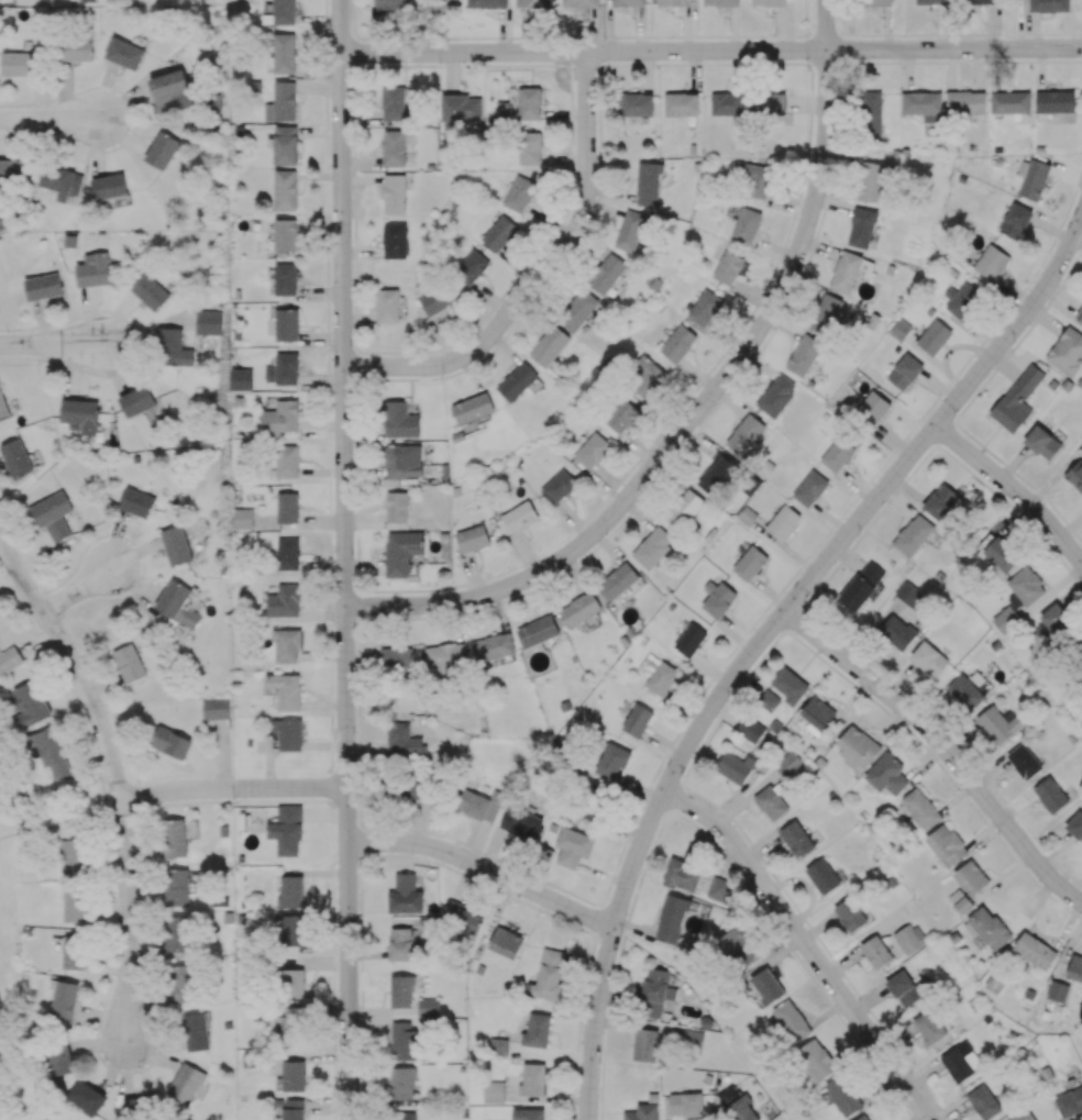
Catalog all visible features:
building: (879, 1)
building: (978, 1)
building: (627, 2)
building: (674, 2)
building: (719, 2)
building: (769, 2)
building: (929, 2)
building: (391, 3)
building: (486, 3)
building: (532, 3)
building: (579, 3)
building: (438, 4)
building: (1048, 5)
building: (280, 13)
road: (826, 26)
building: (74, 48)
building: (284, 52)
building: (124, 53)
road: (710, 53)
building: (18, 64)
building: (170, 91)
building: (965, 100)
building: (280, 101)
building: (1009, 101)
building: (529, 102)
building: (393, 103)
building: (636, 103)
building: (681, 103)
building: (725, 103)
building: (766, 104)
building: (921, 104)
building: (1057, 104)
building: (461, 108)
building: (871, 114)
road: (52, 118)
building: (285, 145)
building: (394, 147)
building: (530, 147)
building: (161, 149)
building: (10, 171)
building: (751, 178)
building: (1031, 178)
building: (60, 181)
building: (871, 181)
building: (648, 184)
building: (108, 186)
building: (285, 189)
building: (519, 192)
building: (394, 193)
building: (1015, 221)
building: (746, 225)
building: (861, 226)
road: (1077, 226)
building: (629, 230)
building: (499, 233)
building: (285, 234)
building: (395, 240)
road: (1077, 240)
building: (991, 262)
building: (472, 266)
building: (727, 267)
building: (92, 269)
building: (846, 271)
building: (607, 274)
road: (542, 278)
building: (286, 279)
building: (43, 286)
building: (150, 291)
building: (435, 298)
building: (960, 299)
building: (387, 306)
building: (704, 308)
building: (577, 309)
building: (825, 313)
building: (1078, 313)
building: (207, 321)
building: (286, 324)
building: (932, 336)
building: (677, 343)
road: (52, 344)
building: (549, 345)
building: (173, 347)
building: (1066, 350)
building: (804, 355)
building: (283, 368)
building: (903, 370)
building: (644, 377)
building: (241, 378)
building: (517, 381)
building: (776, 395)
building: (1015, 399)
building: (140, 402)
building: (2, 406)
building: (472, 408)
building: (871, 408)
building: (79, 415)
building: (281, 417)
building: (621, 417)
building: (400, 420)
road: (691, 429)
building: (744, 433)
building: (1081, 439)
building: (1040, 442)
building: (592, 450)
building: (837, 452)
building: (15, 457)
building: (287, 461)
building: (402, 461)
building: (716, 474)
building: (1074, 476)
building: (557, 486)
building: (808, 488)
road: (1011, 494)
building: (939, 501)
building: (136, 502)
building: (287, 507)
building: (397, 507)
building: (683, 509)
building: (52, 515)
building: (519, 515)
building: (747, 517)
building: (243, 518)
building: (781, 521)
building: (910, 534)
building: (472, 537)
building: (176, 545)
building: (652, 546)
building: (401, 552)
building: (287, 554)
building: (1000, 557)
road: (343, 559)
building: (750, 563)
building: (618, 581)
building: (859, 584)
road: (84, 585)
building: (1024, 587)
building: (908, 595)
building: (717, 598)
building: (284, 601)
building: (176, 603)
building: (579, 609)
building: (1005, 619)
building: (1056, 620)
building: (537, 631)
building: (895, 631)
building: (689, 640)
building: (286, 645)
building: (493, 646)
road: (761, 646)
building: (1077, 656)
building: (927, 657)
building: (11, 658)
building: (396, 659)
building: (445, 659)
building: (128, 663)
building: (648, 665)
building: (662, 680)
building: (788, 685)
building: (286, 690)
building: (964, 691)
building: (768, 699)
building: (29, 703)
building: (214, 708)
building: (818, 716)
building: (637, 720)
building: (998, 723)
building: (749, 729)
building: (288, 733)
building: (170, 742)
building: (406, 743)
building: (857, 746)
building: (52, 751)
road: (940, 752)
building: (611, 761)
building: (1024, 761)
building: (787, 763)
building: (735, 766)
road: (115, 774)
building: (886, 775)
road: (233, 788)
building: (413, 789)
building: (1050, 795)
building: (770, 802)
building: (476, 803)
building: (920, 808)
building: (520, 822)
building: (1075, 825)
road: (54, 827)
building: (285, 829)
building: (174, 838)
building: (796, 839)
building: (946, 845)
building: (572, 846)
building: (73, 855)
road: (483, 869)
building: (682, 875)
building: (821, 875)
building: (971, 877)
building: (176, 887)
building: (718, 889)
building: (290, 890)
building: (405, 895)
building: (960, 901)
building: (76, 905)
building: (849, 913)
building: (460, 917)
building: (671, 919)
building: (989, 928)
building: (291, 930)
building: (177, 933)
building: (908, 938)
building: (505, 942)
building: (401, 943)
building: (737, 946)
road: (805, 949)
building: (1035, 950)
building: (74, 952)
building: (875, 952)
building: (548, 975)
park: (9, 980)
building: (1067, 980)
building: (183, 983)
building: (292, 984)
building: (994, 984)
building: (766, 986)
building: (906, 988)
building: (401, 991)
building: (655, 991)
building: (64, 999)
building: (428, 1007)
building: (791, 1020)
building: (928, 1027)
building: (537, 1029)
building: (289, 1030)
building: (196, 1031)
building: (402, 1040)
building: (692, 1040)
building: (644, 1044)
building: (815, 1058)
building: (59, 1060)
building: (960, 1062)
building: (292, 1076)
building: (532, 1078)
building: (186, 1083)
building: (401, 1083)
building: (493, 1091)
building: (843, 1095)
building: (86, 1096)
building: (983, 1101)
building: (1069, 1101)
building: (685, 1104)
building: (736, 1105)
building: (292, 1109)
building: (641, 1112)
building: (527, 1113)
building: (1020, 1115)
building: (402, 1116)
building: (863, 1117)

